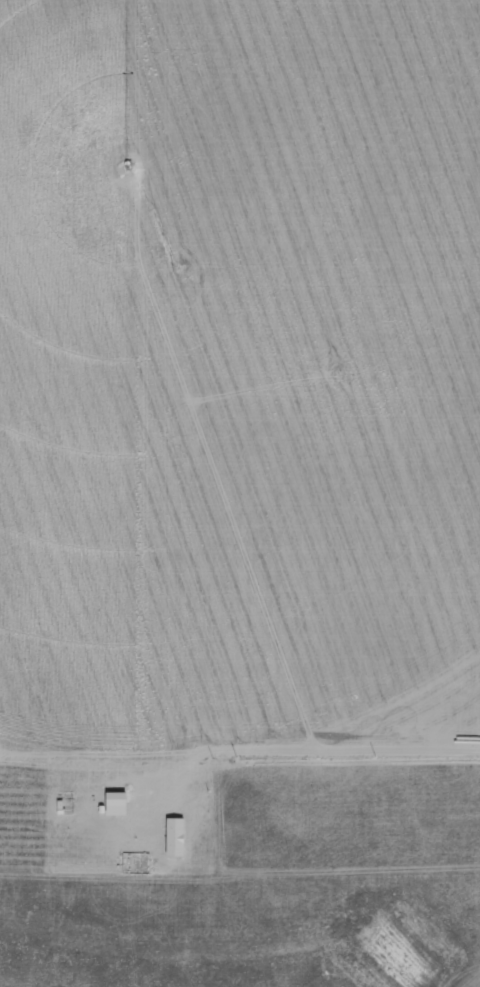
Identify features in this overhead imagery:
road: (291, 765)
building: (175, 836)
road: (240, 886)

